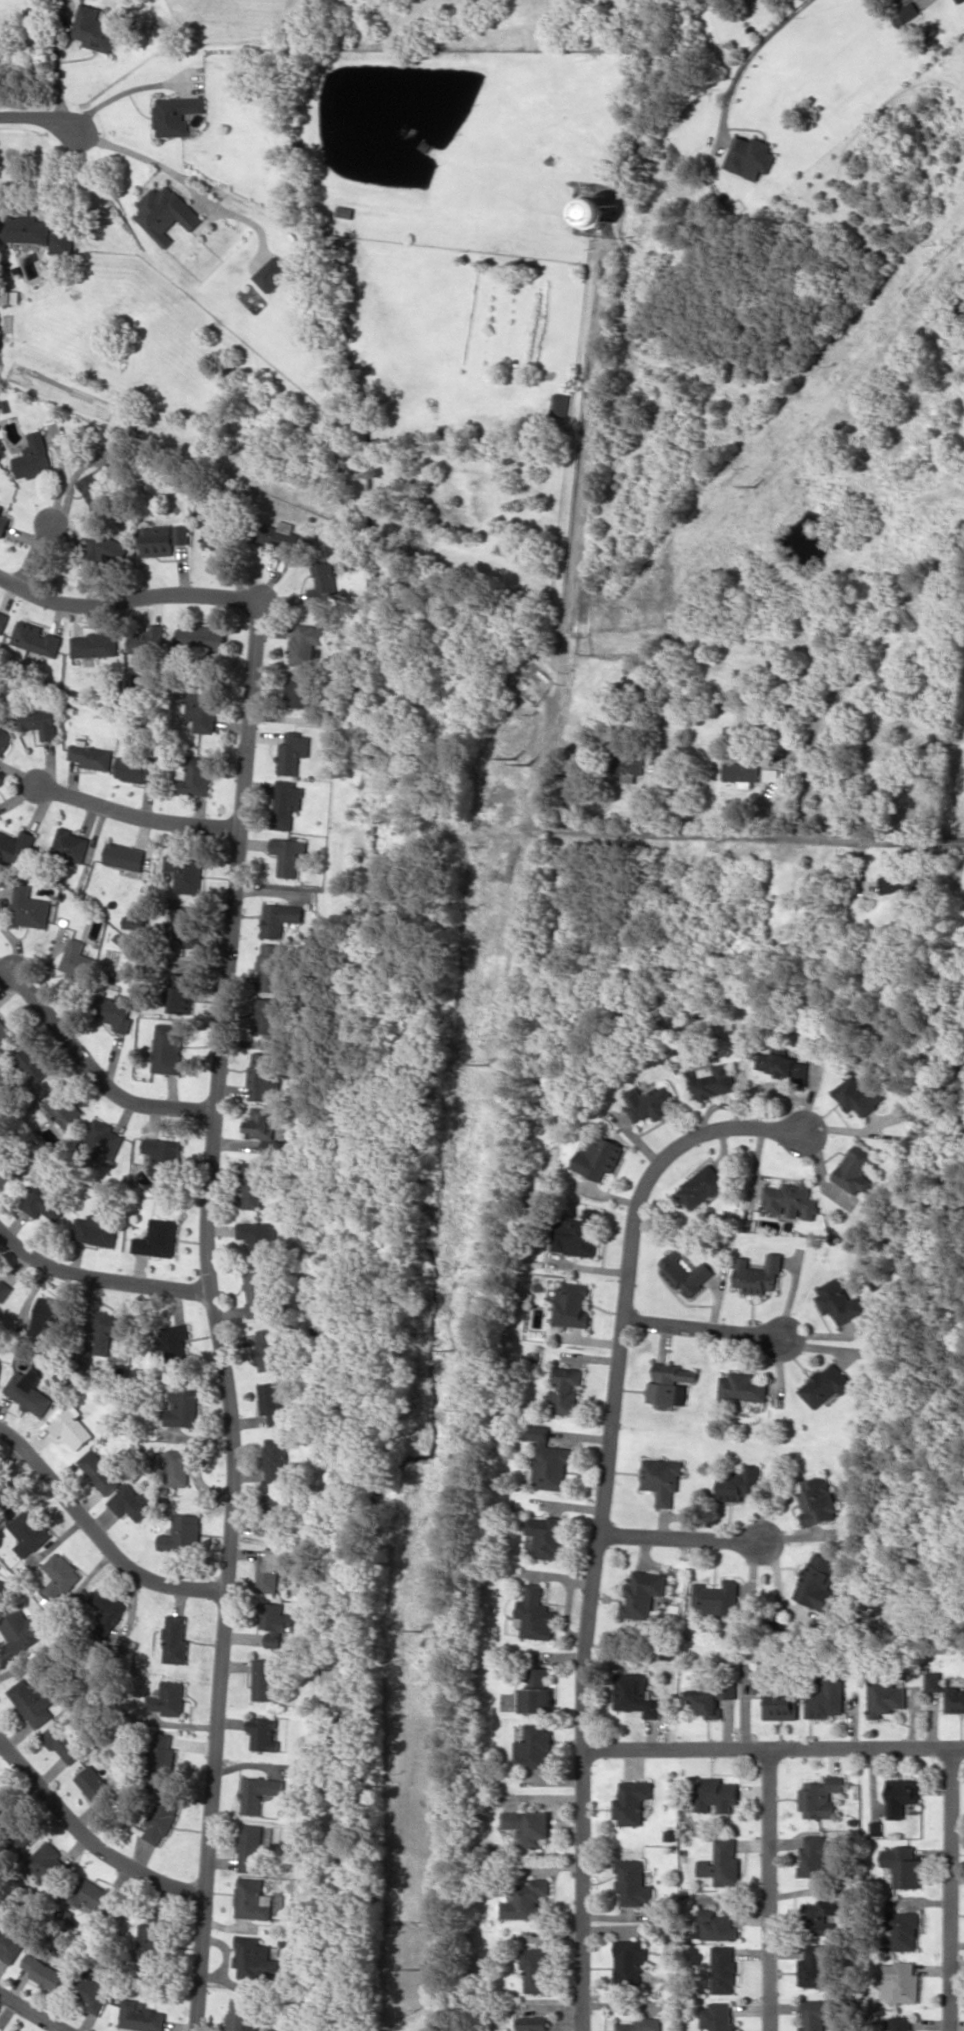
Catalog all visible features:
building: (959, 1)
building: (906, 13)
building: (96, 28)
building: (177, 114)
road: (37, 118)
building: (749, 155)
building: (600, 212)
building: (167, 213)
water tower: (596, 213)
building: (23, 225)
building: (62, 242)
building: (272, 273)
building: (12, 296)
building: (560, 405)
building: (34, 456)
power tower: (757, 485)
building: (100, 486)
building: (3, 522)
building: (213, 530)
building: (278, 537)
building: (163, 538)
building: (108, 550)
road: (36, 552)
building: (324, 583)
road: (125, 599)
building: (3, 620)
building: (202, 637)
building: (36, 638)
building: (149, 640)
building: (96, 644)
building: (306, 644)
building: (302, 692)
building: (203, 707)
building: (39, 721)
building: (4, 739)
building: (293, 752)
building: (91, 755)
power tower: (520, 758)
building: (626, 764)
building: (138, 770)
building: (742, 772)
building: (196, 776)
building: (287, 803)
road: (137, 815)
road: (745, 838)
building: (70, 845)
building: (16, 846)
building: (289, 855)
building: (124, 856)
building: (187, 872)
building: (905, 881)
building: (29, 908)
building: (280, 918)
building: (134, 922)
building: (186, 925)
building: (78, 959)
building: (271, 967)
building: (182, 992)
building: (743, 1002)
building: (118, 1012)
building: (267, 1014)
building: (4, 1031)
building: (169, 1048)
power tower: (485, 1060)
building: (36, 1062)
building: (783, 1066)
road: (97, 1072)
building: (264, 1074)
building: (711, 1081)
building: (858, 1094)
building: (650, 1102)
building: (64, 1107)
building: (264, 1127)
building: (105, 1139)
building: (599, 1157)
building: (163, 1158)
building: (11, 1167)
building: (856, 1169)
building: (254, 1184)
building: (701, 1186)
building: (792, 1200)
building: (44, 1202)
building: (95, 1230)
building: (577, 1234)
building: (258, 1236)
building: (158, 1238)
building: (685, 1272)
building: (759, 1274)
road: (98, 1278)
building: (4, 1289)
building: (258, 1292)
building: (839, 1301)
building: (571, 1304)
road: (213, 1316)
building: (46, 1317)
road: (702, 1328)
building: (109, 1331)
building: (175, 1341)
power tower: (452, 1346)
building: (269, 1349)
building: (85, 1356)
building: (0, 1363)
building: (825, 1384)
building: (671, 1385)
building: (742, 1387)
building: (566, 1389)
building: (28, 1391)
building: (272, 1402)
building: (181, 1407)
building: (71, 1427)
building: (276, 1459)
building: (550, 1460)
building: (182, 1465)
building: (99, 1471)
building: (662, 1478)
building: (740, 1484)
building: (8, 1496)
building: (817, 1500)
building: (130, 1502)
building: (276, 1514)
road: (599, 1515)
building: (29, 1532)
building: (182, 1533)
road: (681, 1535)
road: (97, 1536)
building: (546, 1536)
building: (268, 1571)
building: (60, 1576)
building: (819, 1584)
building: (1, 1586)
building: (644, 1593)
building: (716, 1597)
building: (110, 1611)
building: (275, 1622)
power tower: (419, 1629)
building: (22, 1630)
building: (177, 1639)
building: (264, 1679)
building: (933, 1681)
building: (728, 1687)
building: (537, 1692)
building: (636, 1694)
building: (826, 1697)
building: (885, 1697)
building: (170, 1698)
building: (955, 1699)
building: (33, 1702)
building: (703, 1702)
building: (777, 1703)
building: (265, 1734)
building: (63, 1741)
building: (533, 1747)
road: (773, 1749)
building: (162, 1757)
building: (96, 1785)
building: (260, 1792)
building: (1, 1794)
building: (716, 1794)
building: (901, 1795)
building: (821, 1796)
building: (632, 1801)
building: (161, 1821)
building: (529, 1826)
building: (17, 1829)
road: (88, 1835)
building: (252, 1848)
building: (816, 1855)
building: (48, 1862)
building: (723, 1863)
building: (903, 1866)
building: (632, 1882)
road: (954, 1888)
road: (773, 1890)
building: (92, 1894)
building: (253, 1899)
building: (526, 1899)
building: (823, 1915)
building: (716, 1925)
building: (904, 1930)
building: (152, 1935)
building: (10, 1945)
building: (253, 1957)
building: (630, 1962)
building: (816, 1964)
building: (535, 1968)
power tower: (421, 1969)
building: (724, 1969)
building: (43, 1972)
building: (901, 1981)
building: (91, 1994)
road: (30, 2014)
building: (815, 2014)
building: (141, 2016)
building: (243, 2016)
building: (718, 2017)
building: (531, 2023)
building: (901, 2023)
building: (642, 2024)

